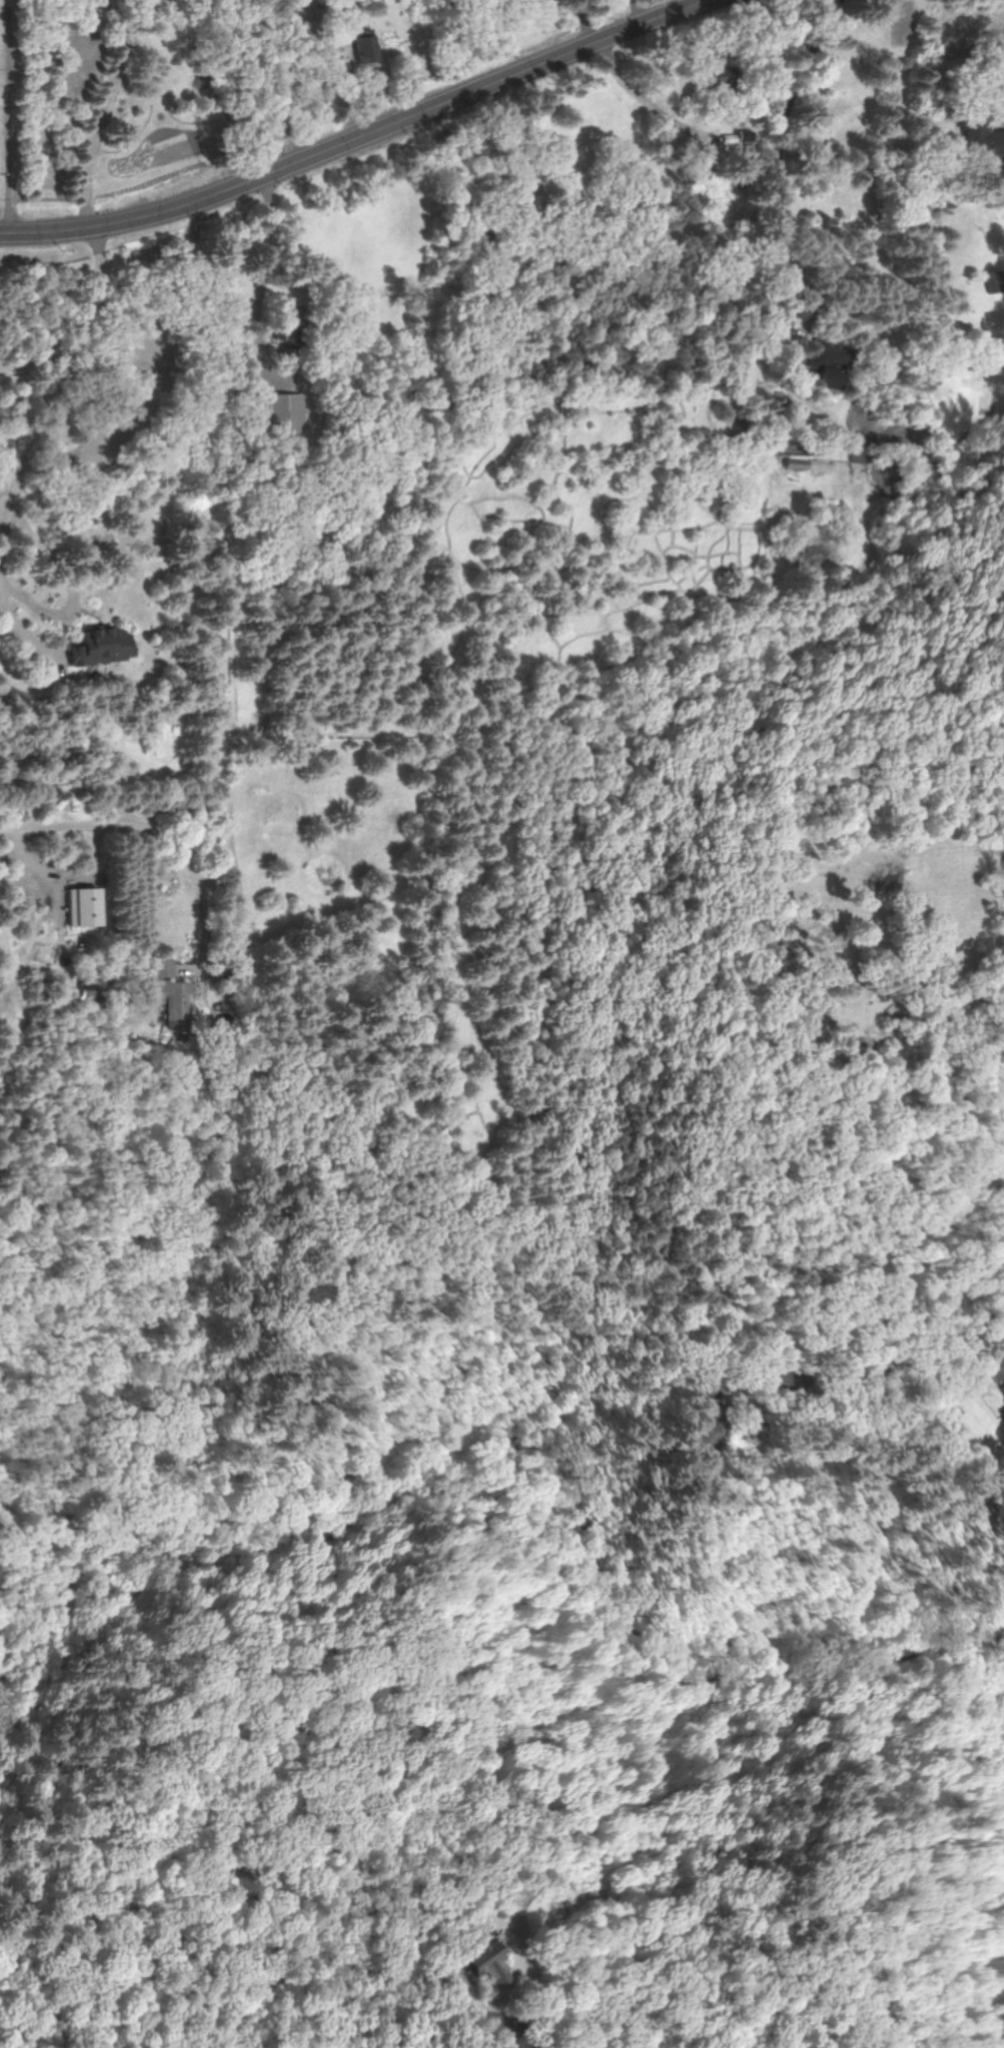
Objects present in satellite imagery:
building: (376, 2)
building: (342, 5)
road: (586, 18)
building: (365, 54)
building: (720, 82)
road: (266, 84)
road: (642, 93)
road: (12, 117)
building: (984, 140)
road: (347, 142)
road: (781, 161)
road: (102, 251)
building: (995, 281)
road: (262, 284)
building: (290, 325)
building: (825, 366)
building: (285, 414)
building: (860, 450)
road: (66, 611)
building: (99, 646)
building: (157, 740)
road: (156, 832)
building: (160, 982)
road: (917, 1359)
building: (1001, 1412)
building: (711, 1423)
building: (485, 1968)
road: (515, 2034)

